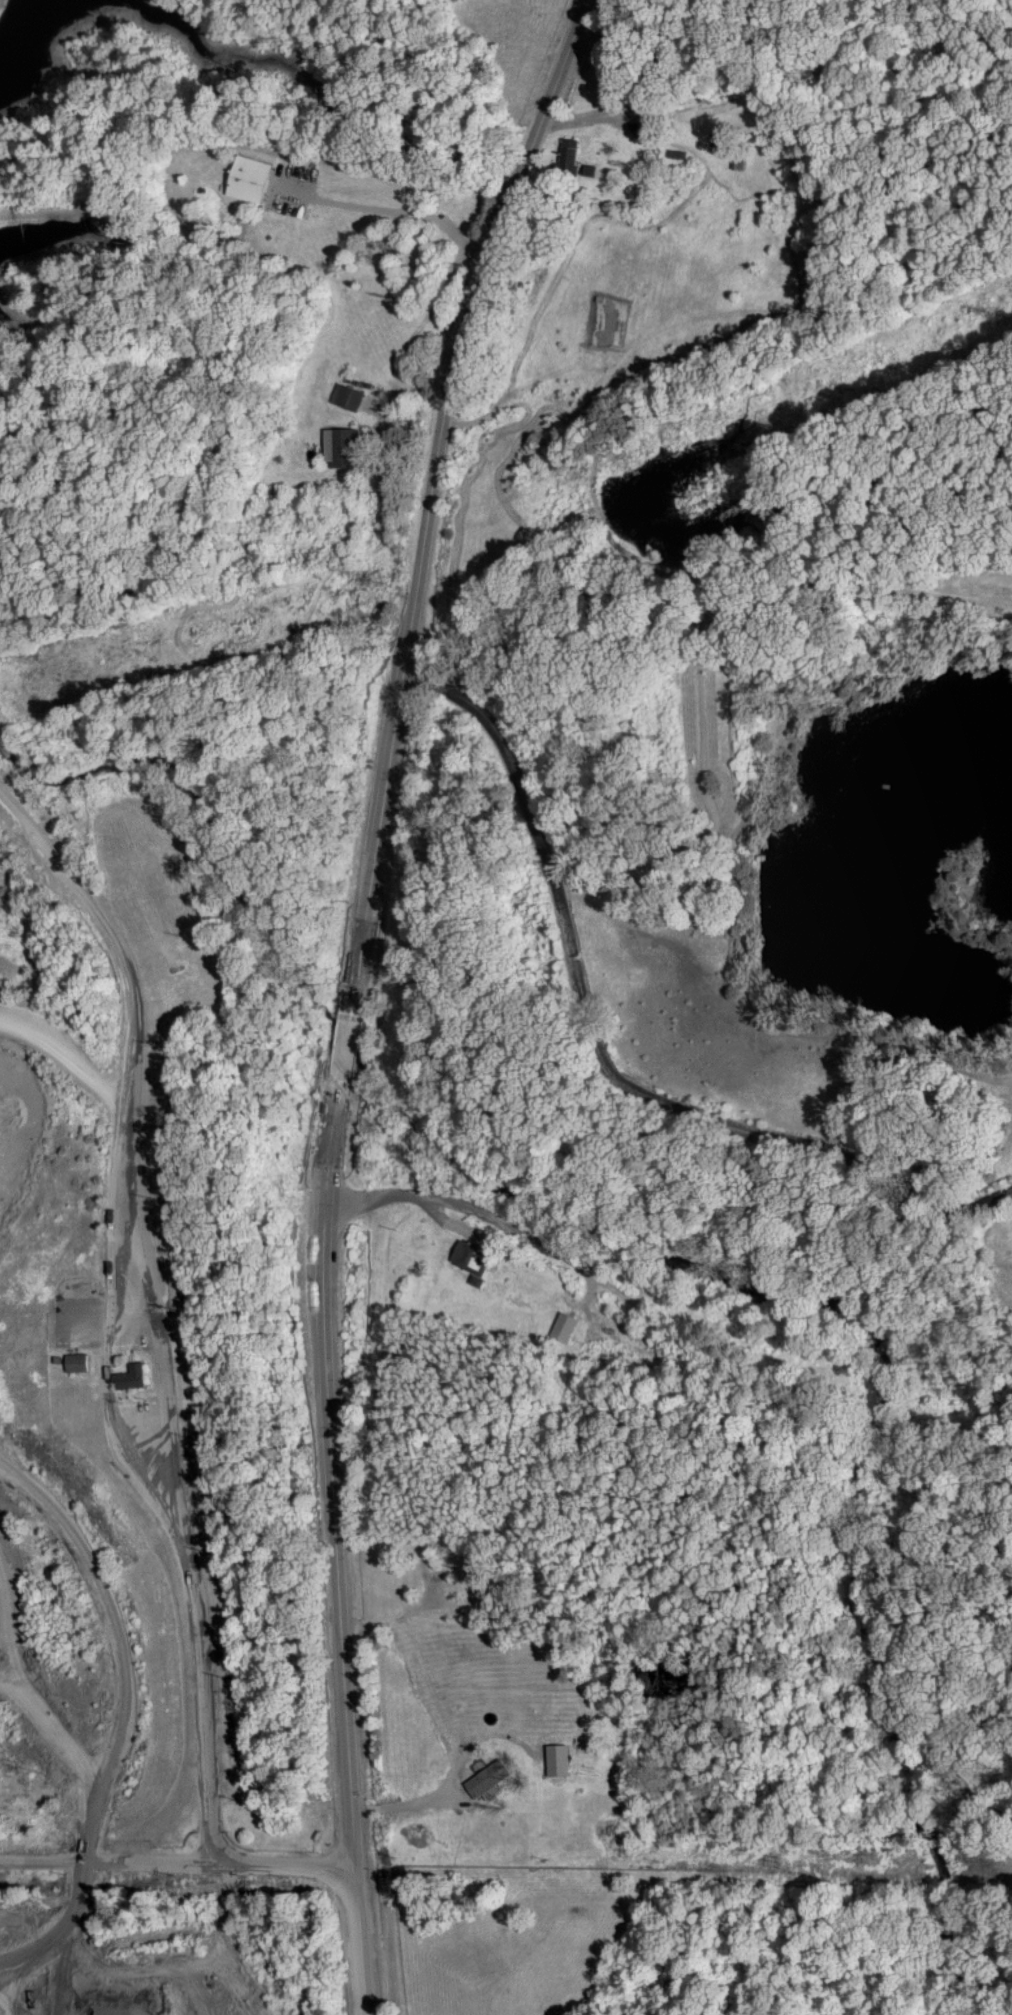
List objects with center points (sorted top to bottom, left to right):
road: (731, 75)
building: (570, 152)
building: (253, 179)
building: (347, 395)
building: (342, 446)
road: (630, 914)
road: (354, 994)
road: (606, 1048)
building: (476, 1260)
road: (687, 1322)
building: (561, 1325)
building: (78, 1361)
building: (133, 1375)
road: (170, 1607)
building: (555, 1758)
building: (488, 1777)
road: (407, 1803)
road: (178, 1863)

